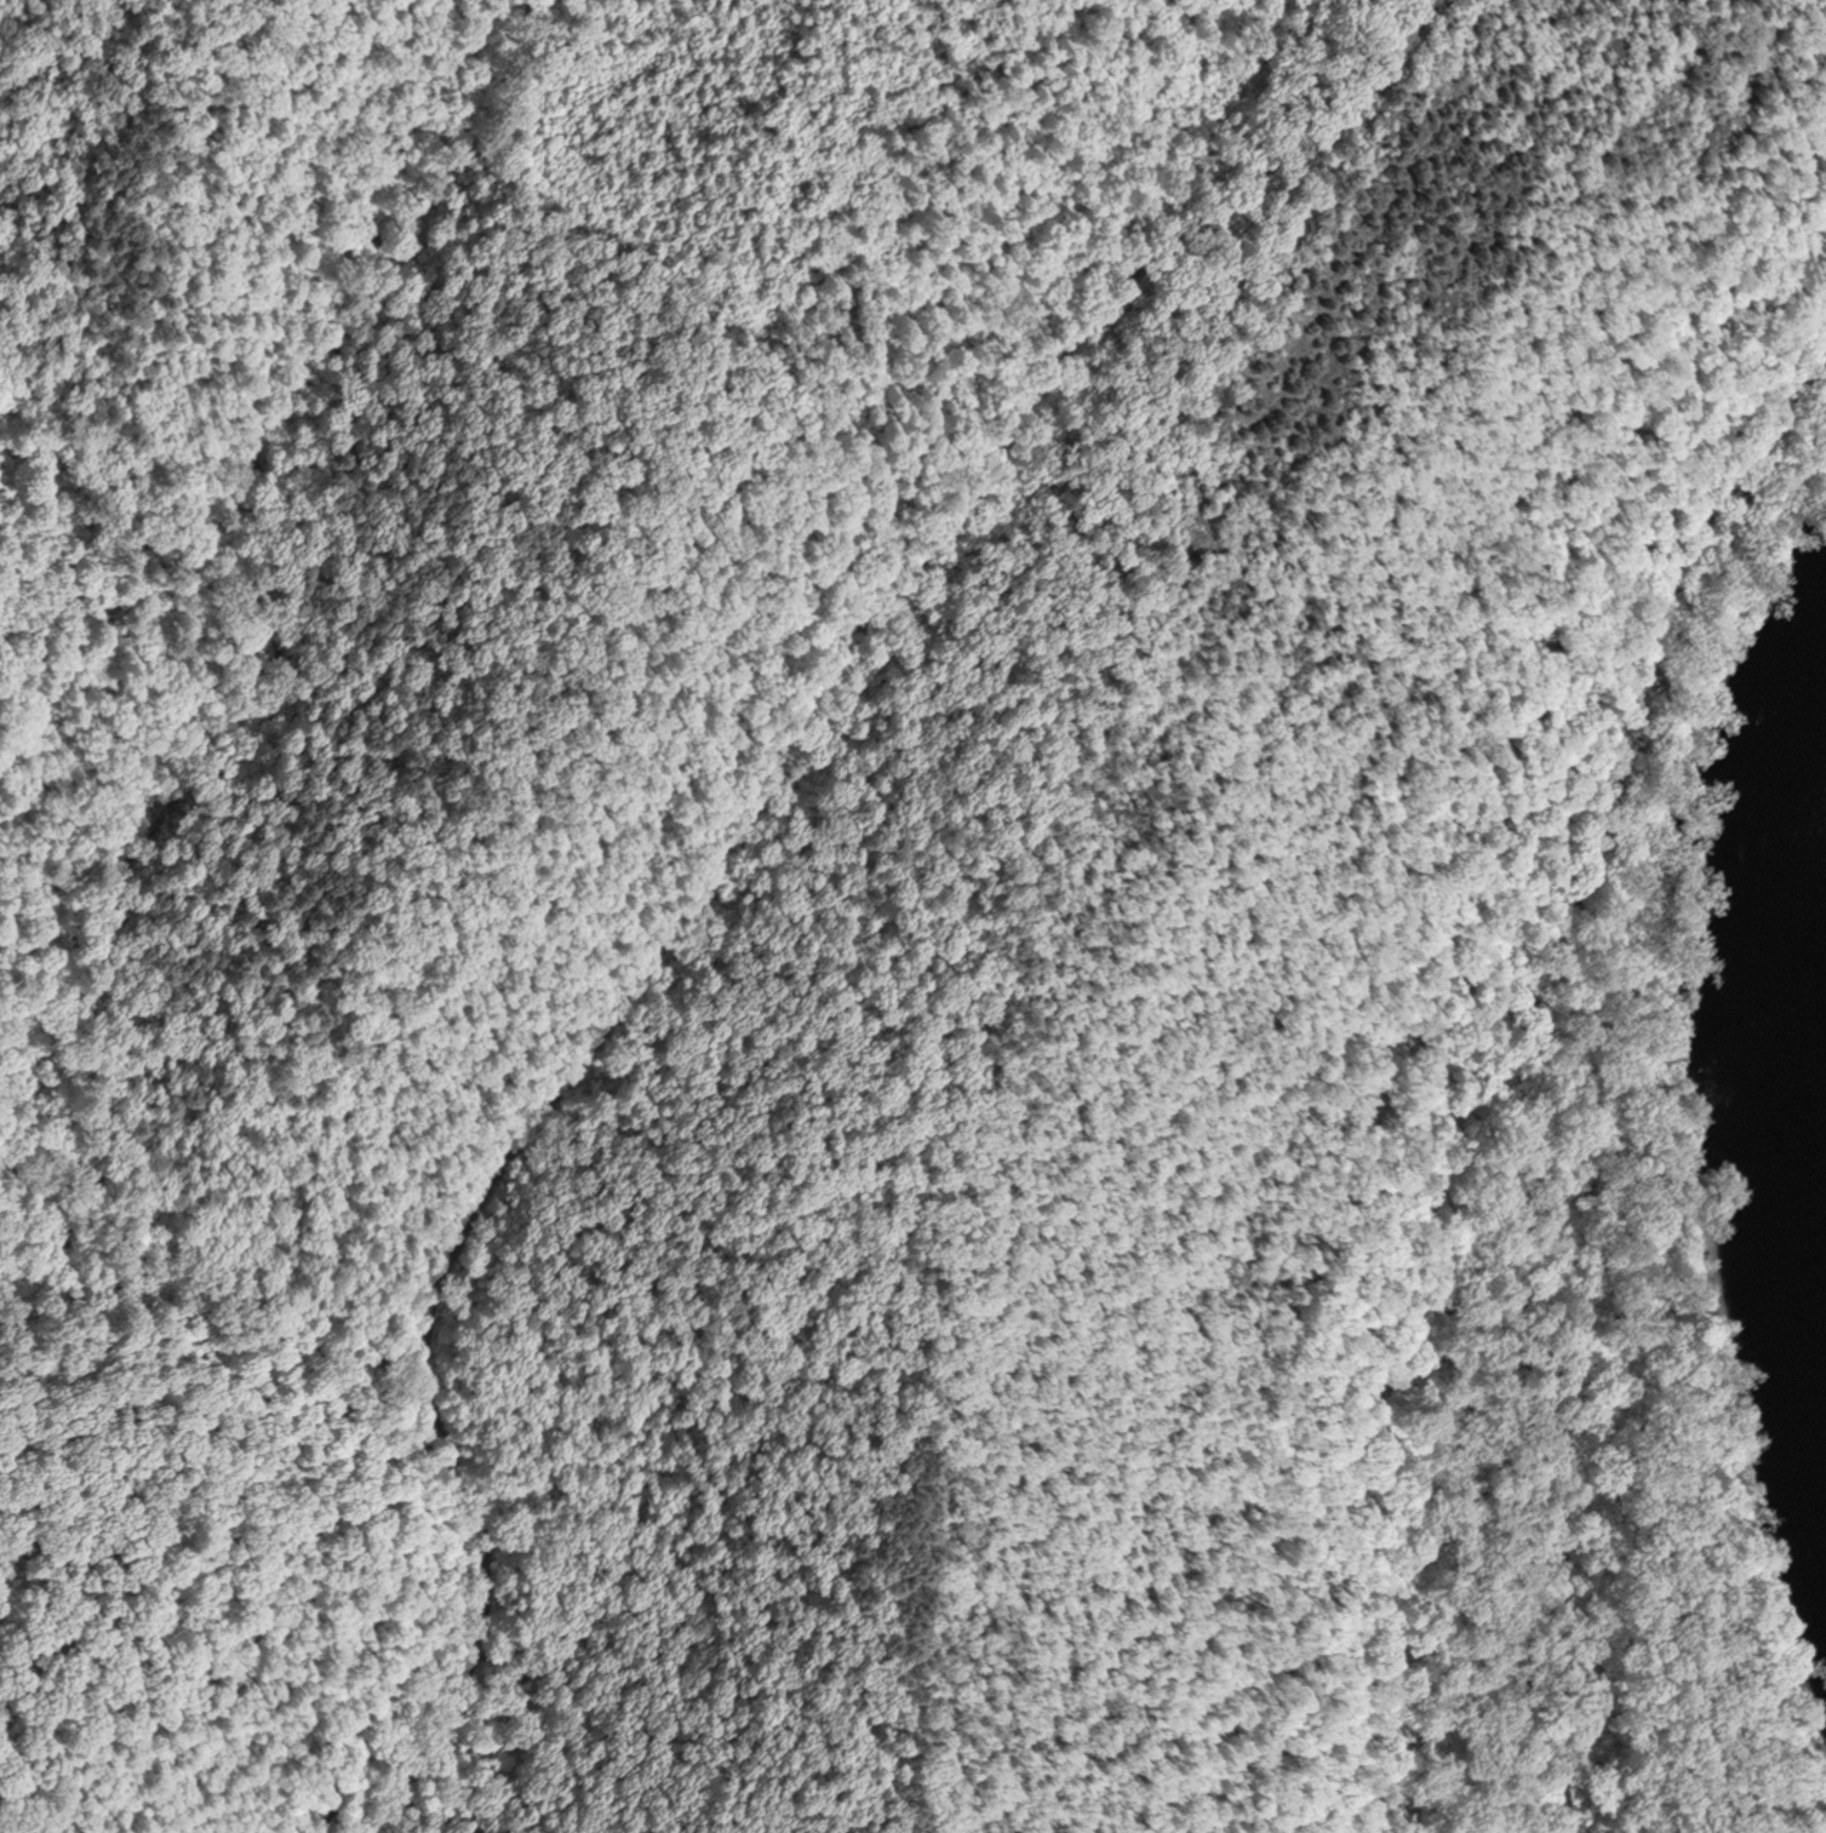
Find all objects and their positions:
road: (729, 844)
road: (1563, 1095)

